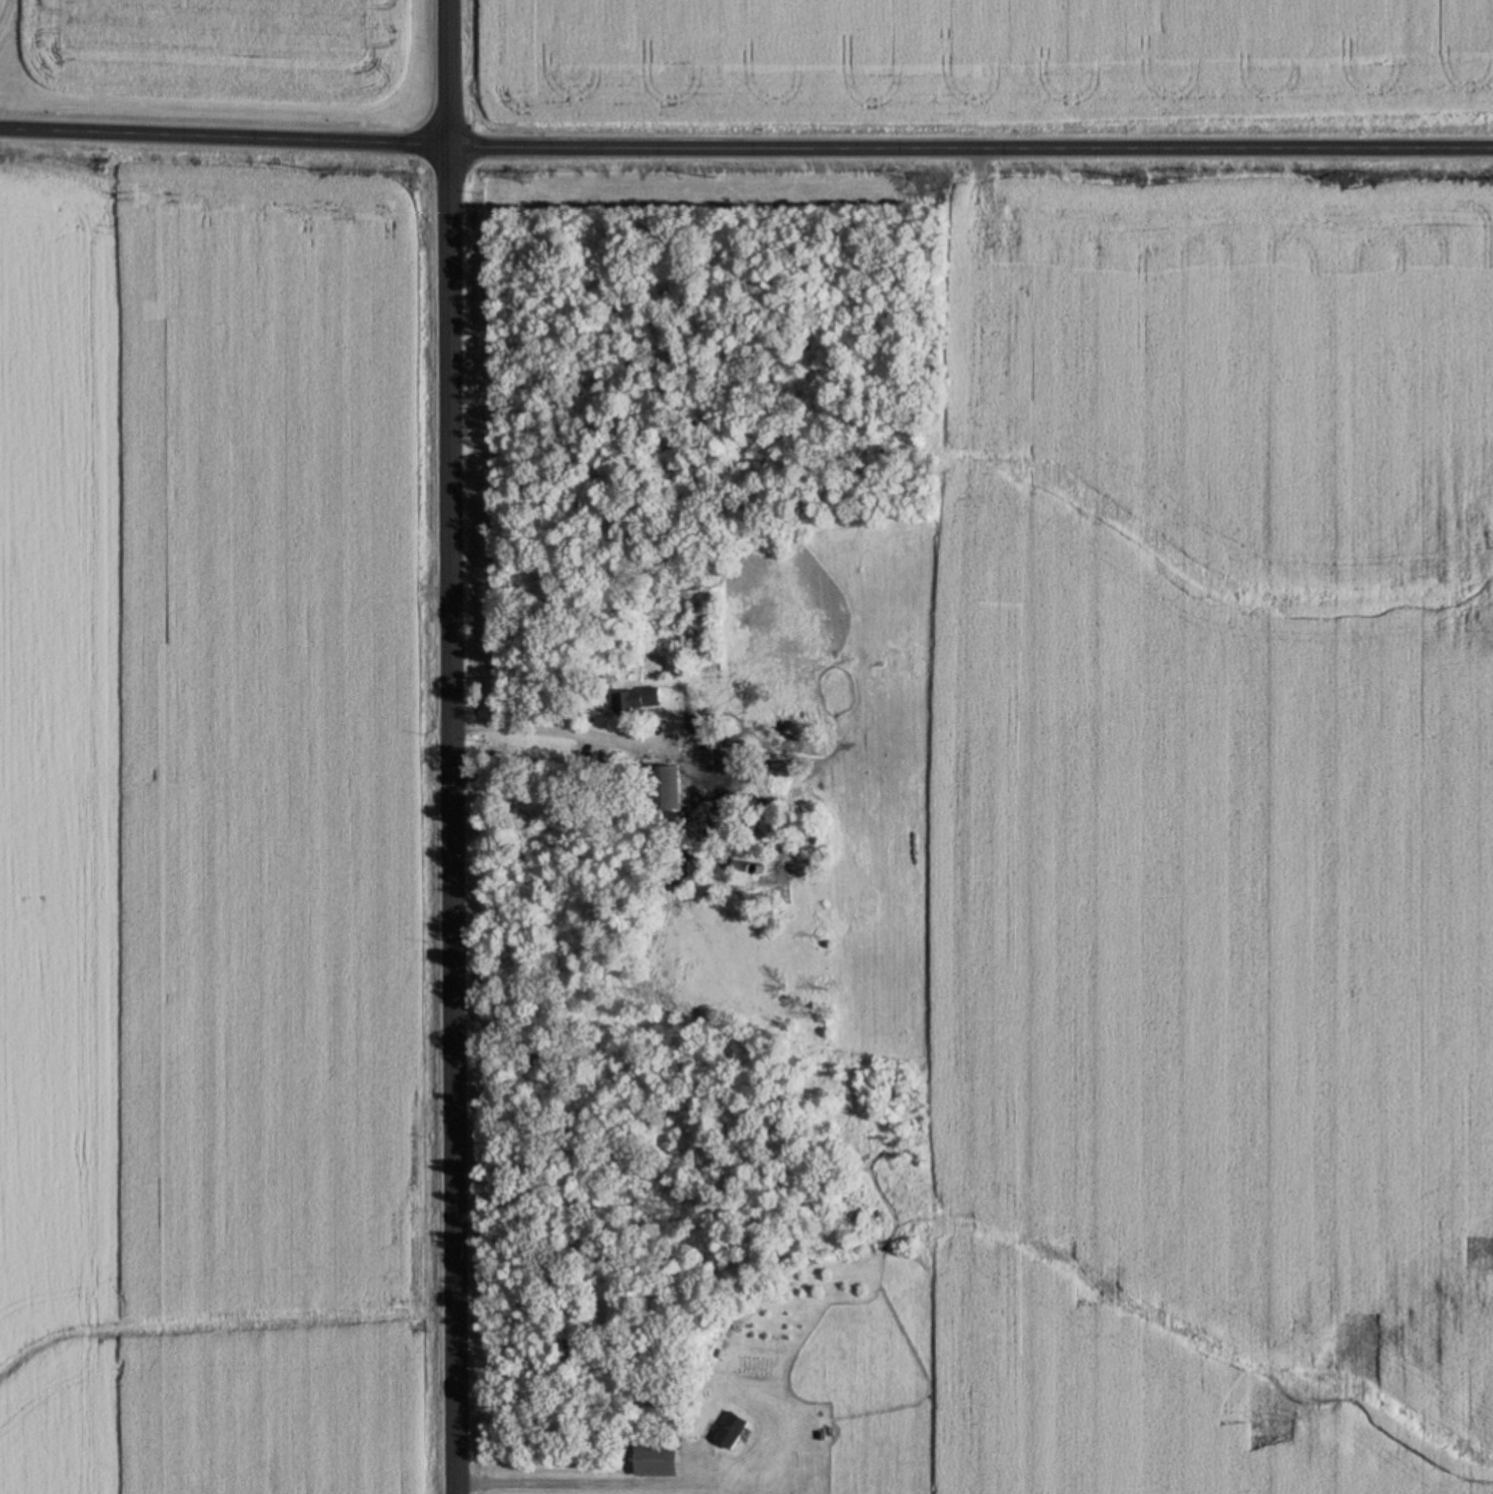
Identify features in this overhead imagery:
road: (746, 137)
power tower: (99, 167)
power tower: (523, 178)
power tower: (920, 179)
power tower: (1339, 179)
building: (637, 701)
building: (712, 743)
road: (449, 746)
building: (665, 789)
building: (731, 1431)
building: (656, 1461)

